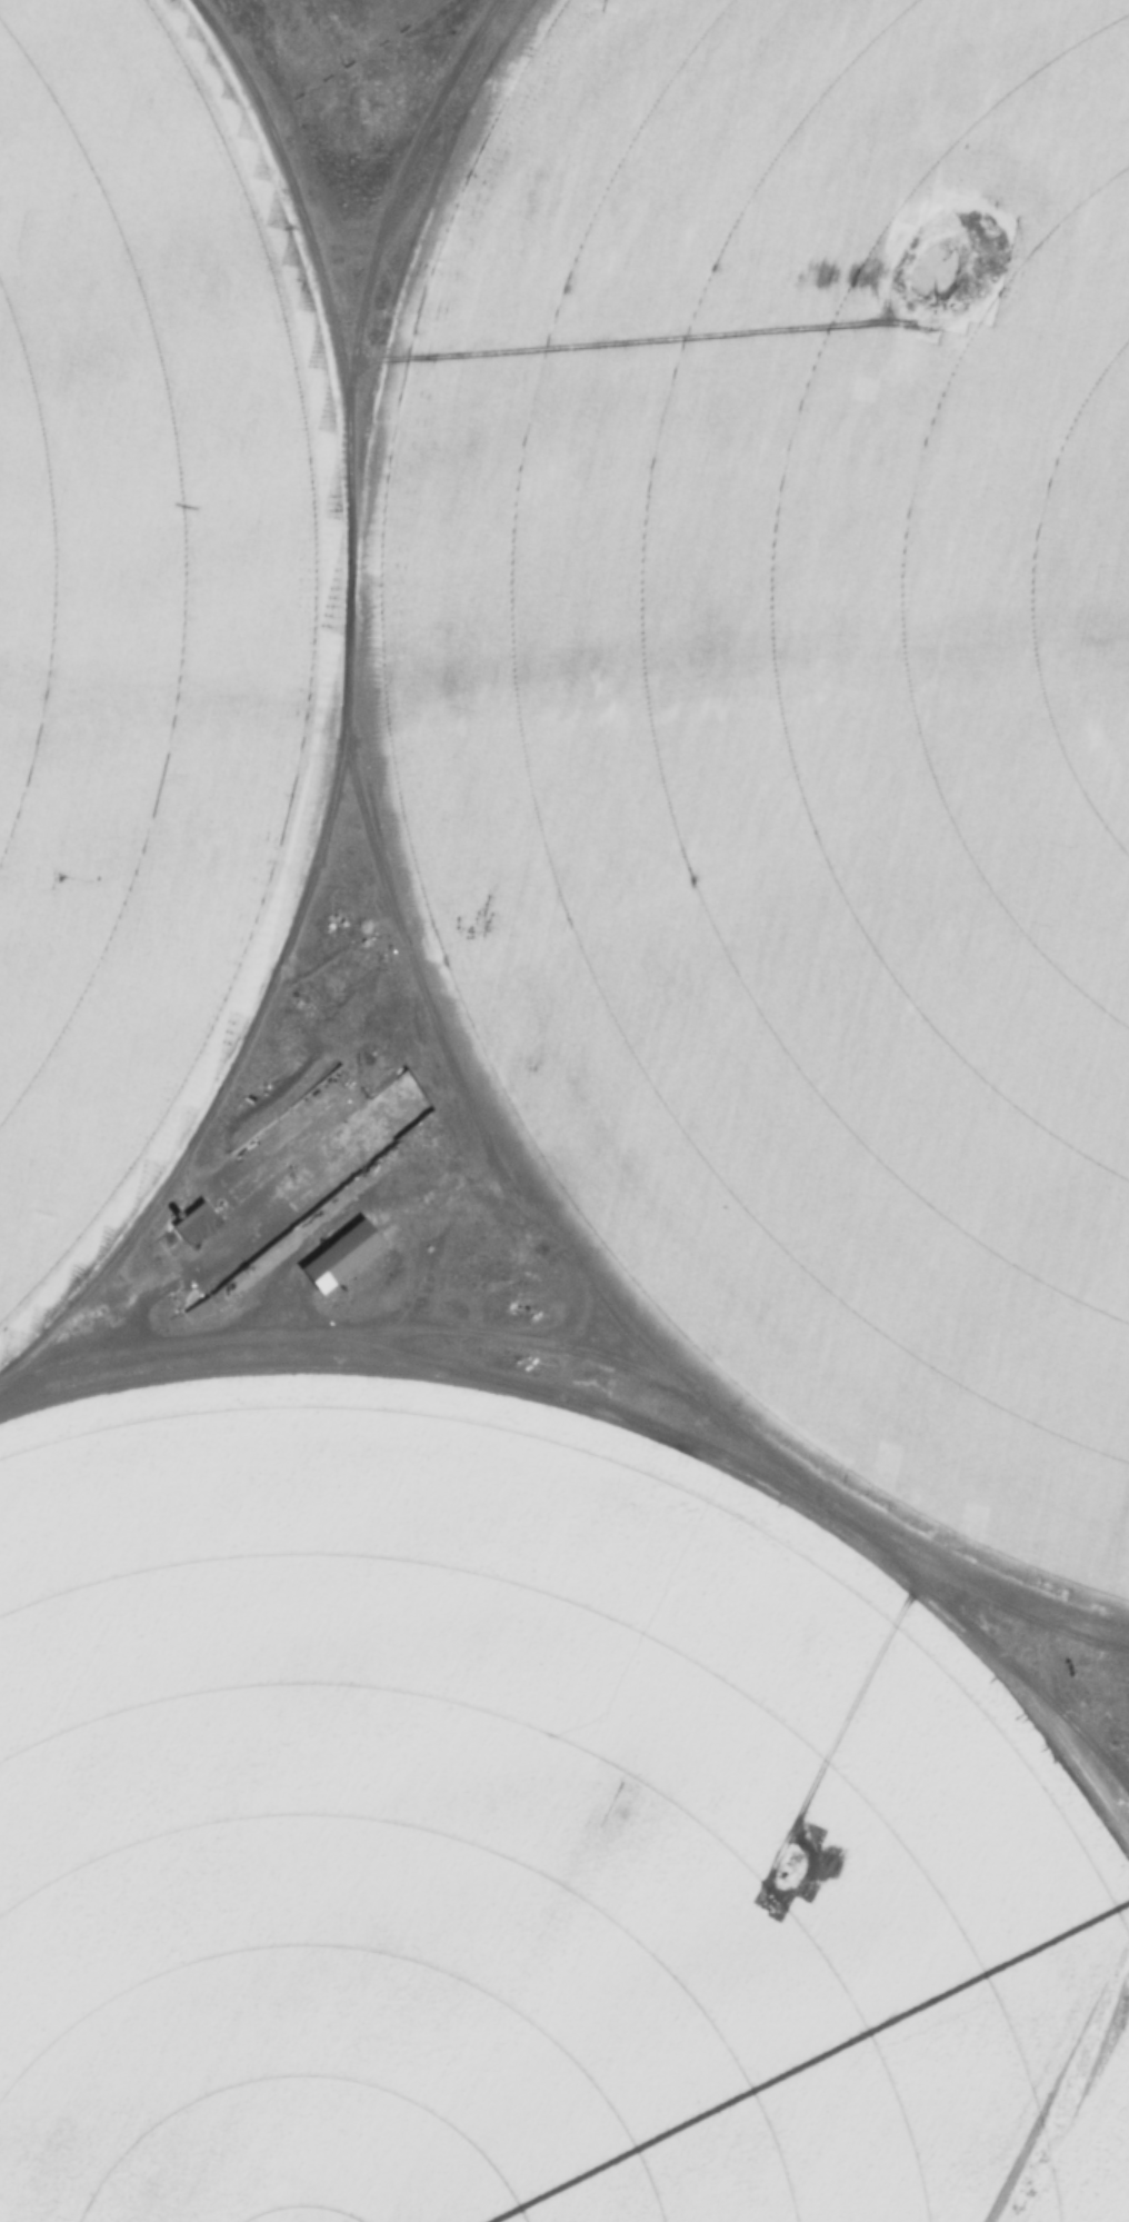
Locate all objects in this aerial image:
building: (250, 33)
building: (678, 515)
crop: (140, 610)
crop: (799, 705)
building: (192, 1224)
building: (342, 1256)
building: (506, 1285)
building: (872, 1287)

